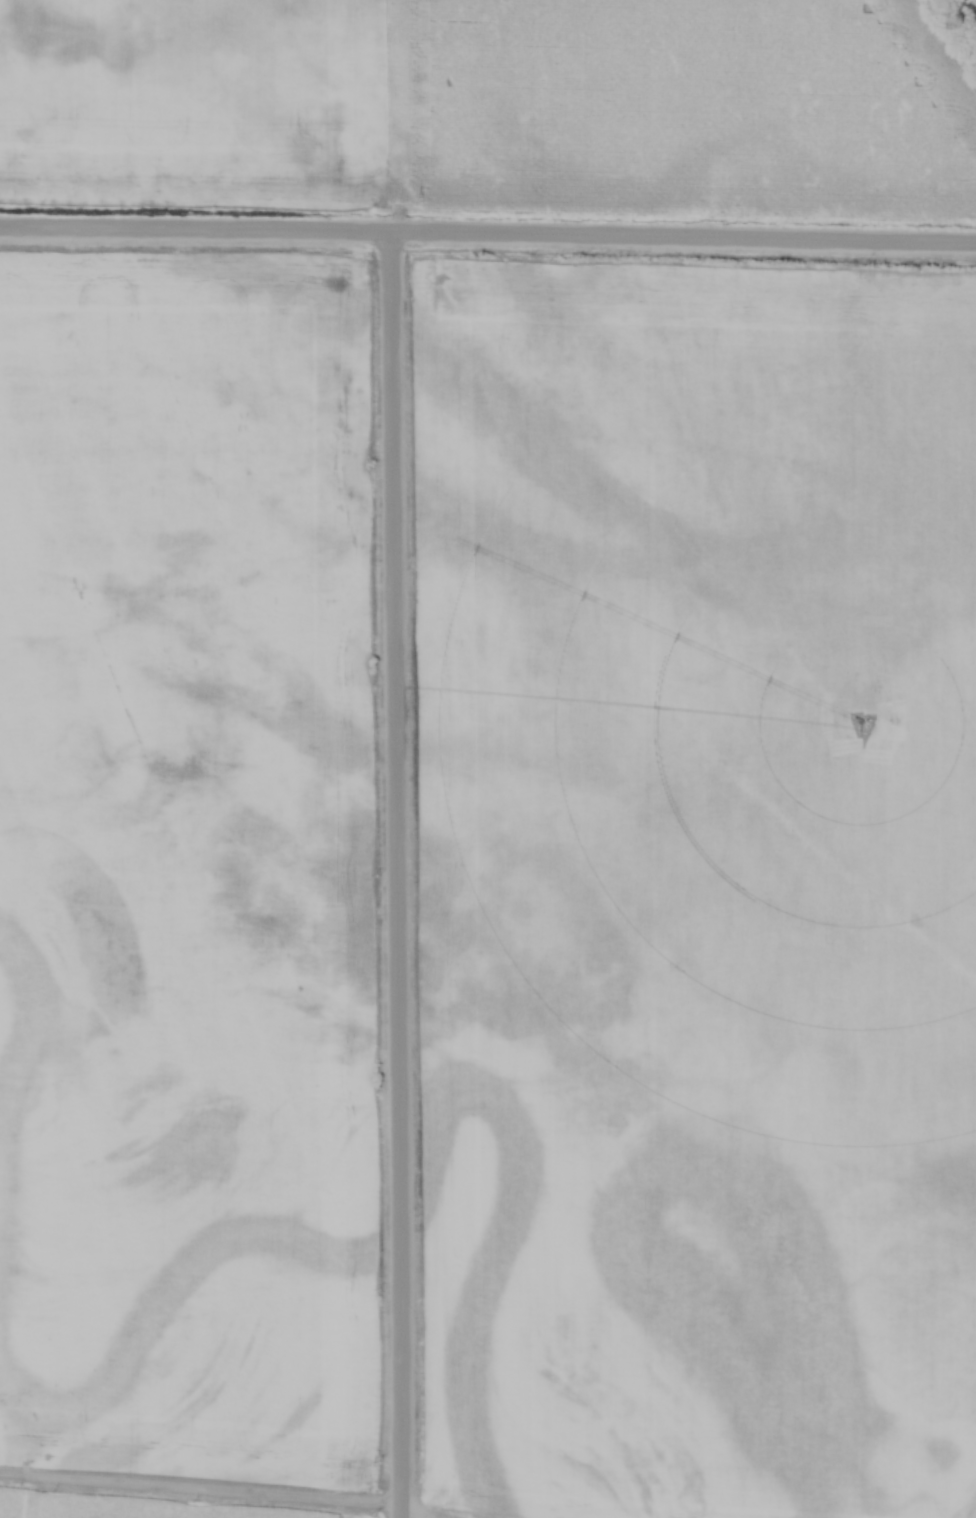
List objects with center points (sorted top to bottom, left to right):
crop: (663, 104)
road: (489, 237)
road: (396, 876)
road: (200, 1490)

